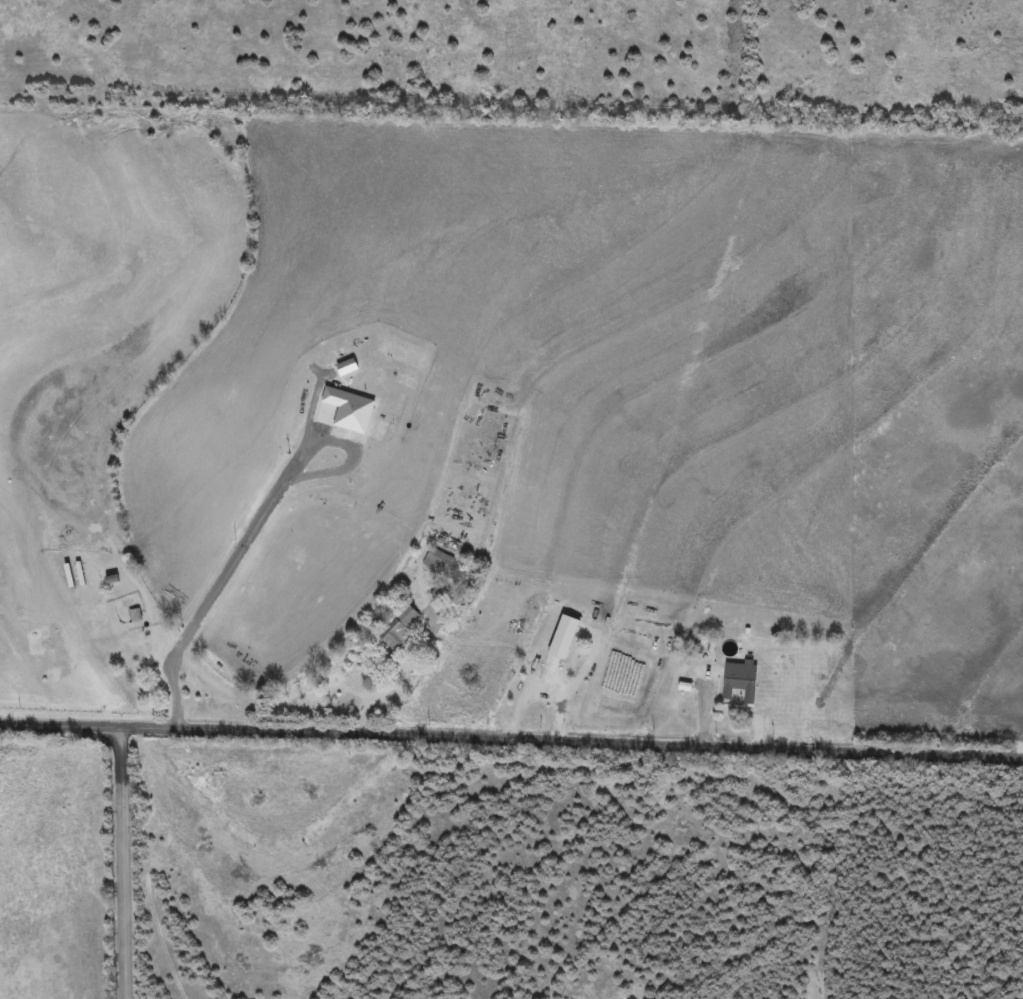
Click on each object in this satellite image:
road: (258, 525)
building: (436, 562)
building: (76, 565)
building: (133, 616)
building: (397, 629)
road: (406, 666)
building: (547, 666)
road: (574, 682)
building: (733, 682)
road: (521, 700)
road: (511, 738)
road: (129, 861)

